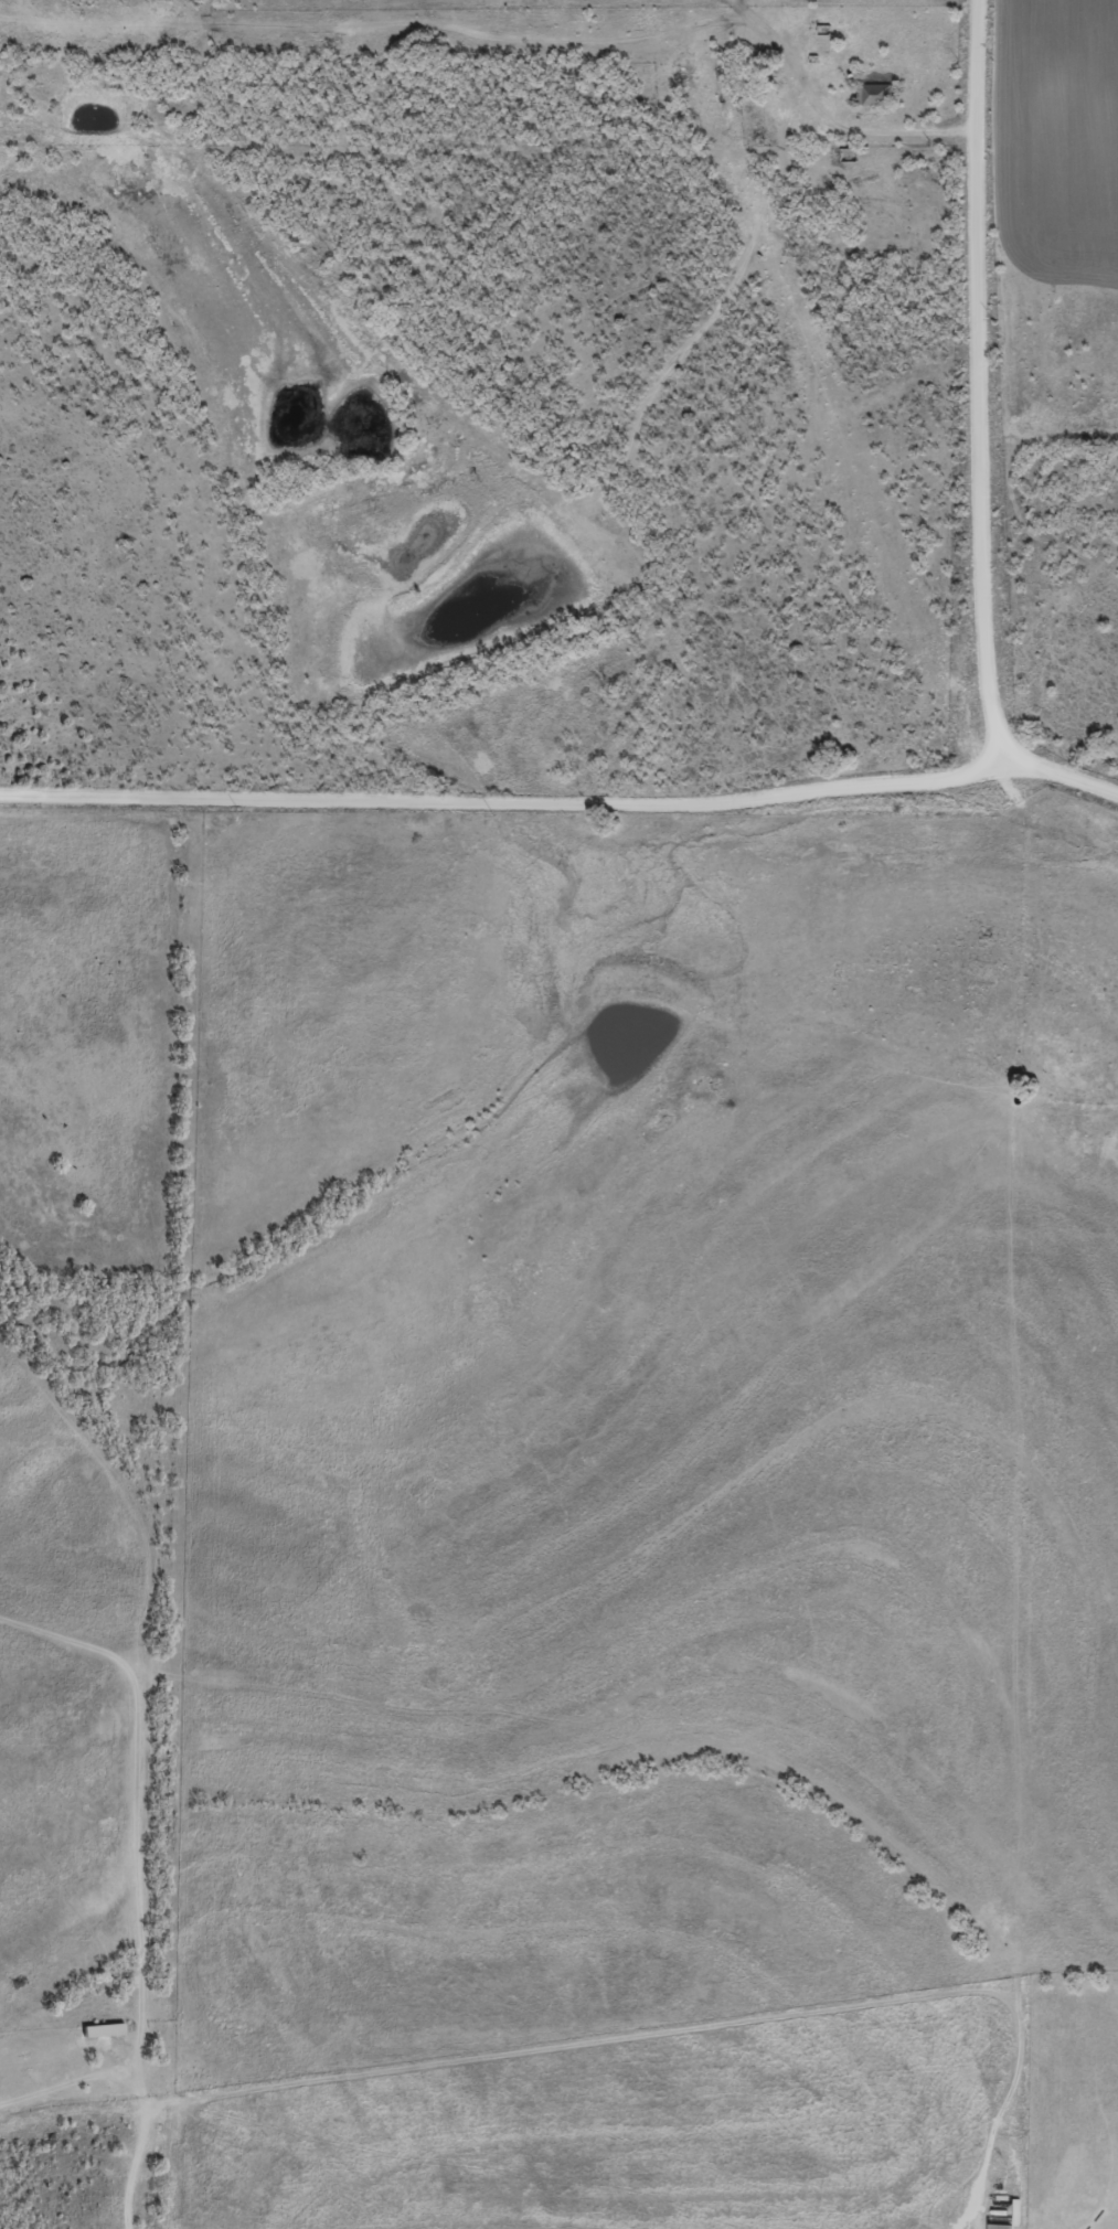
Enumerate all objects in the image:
building: (872, 102)
road: (738, 210)
road: (989, 385)
road: (1057, 783)
road: (499, 814)
road: (160, 1921)
building: (99, 2039)
road: (959, 2225)

